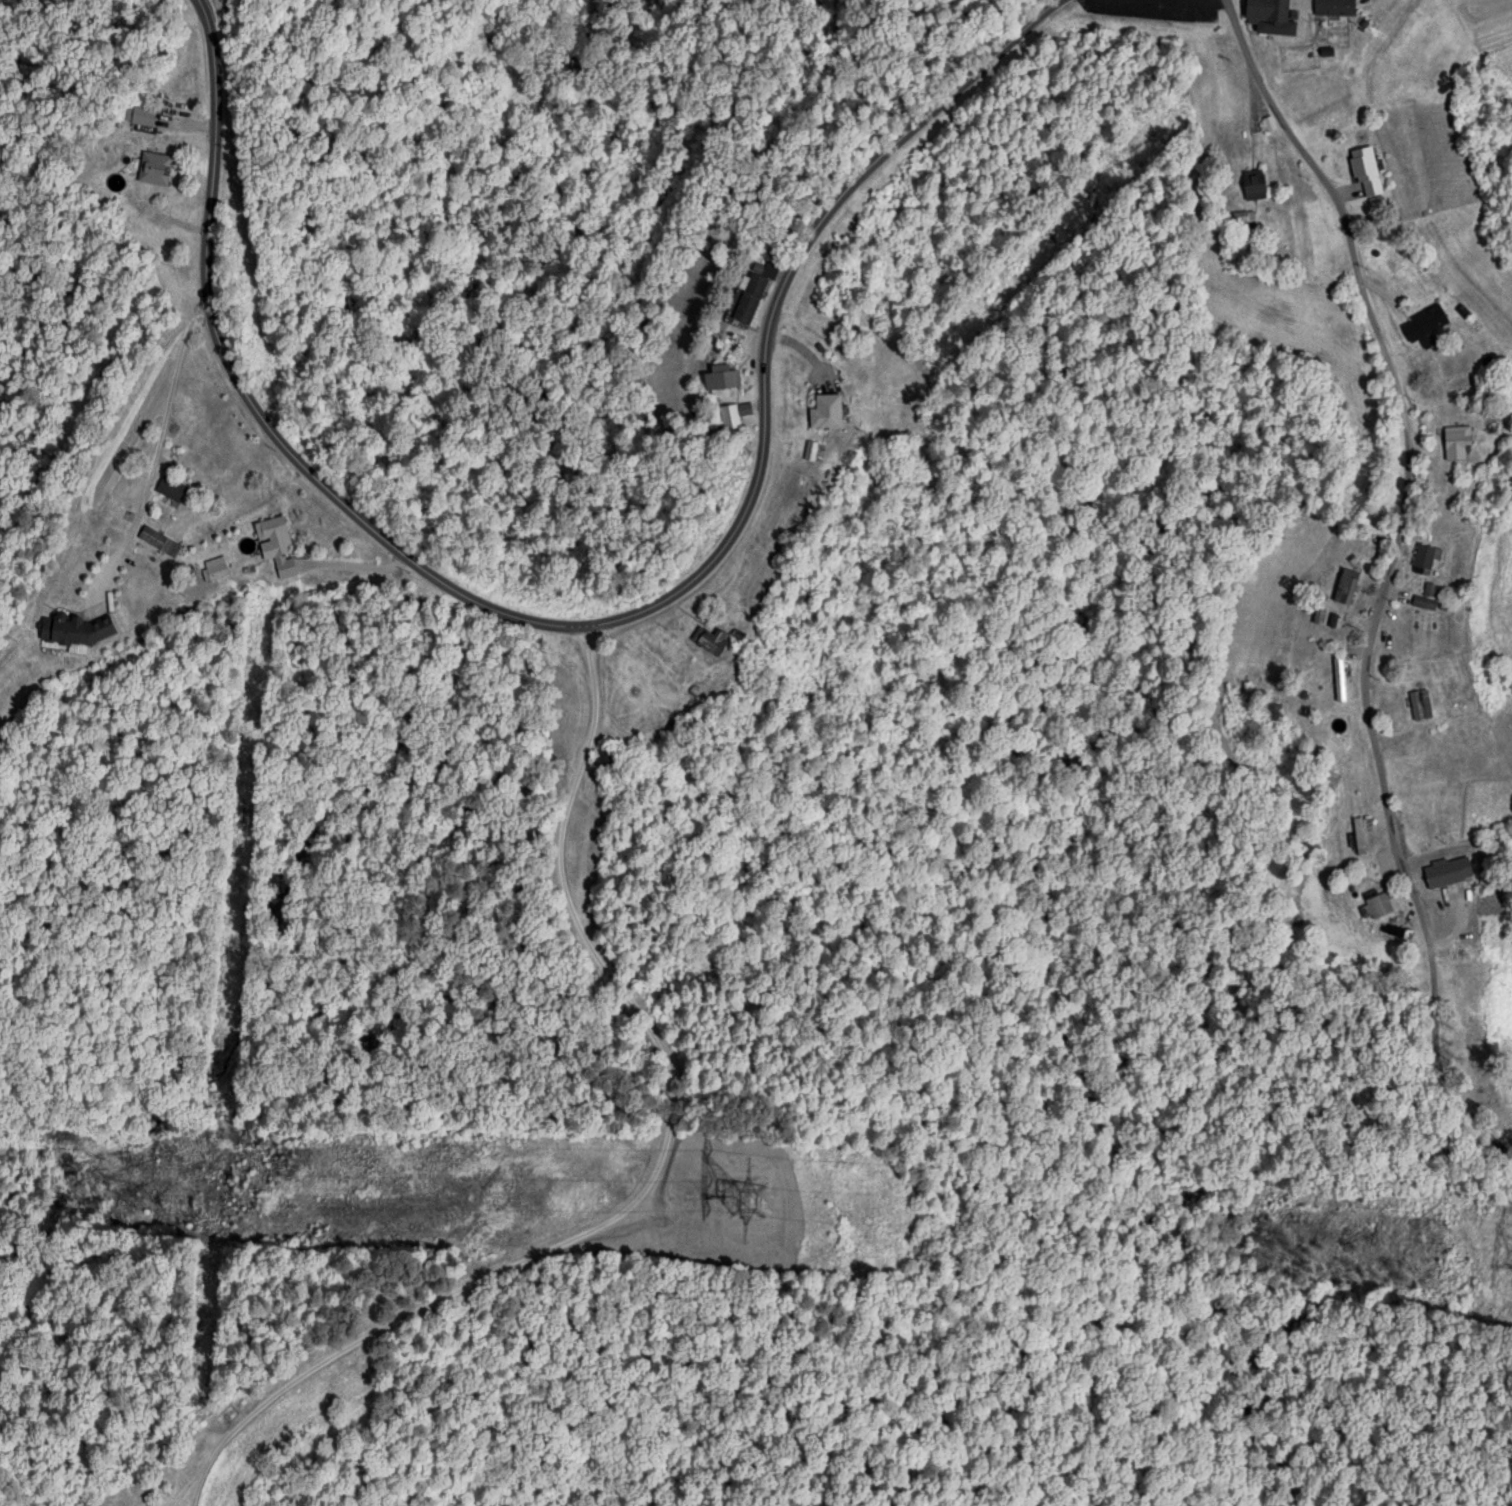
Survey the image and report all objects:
building: (1335, 7)
building: (1269, 16)
building: (144, 115)
building: (156, 167)
building: (1364, 168)
building: (1255, 183)
building: (752, 295)
road: (197, 306)
building: (1426, 325)
building: (722, 376)
building: (826, 411)
building: (736, 413)
building: (1457, 442)
road: (153, 463)
building: (178, 491)
building: (154, 536)
building: (273, 536)
building: (1426, 559)
building: (217, 567)
road: (1385, 577)
building: (1347, 586)
building: (1425, 602)
road: (591, 628)
building: (75, 629)
building: (709, 638)
building: (1340, 676)
building: (1450, 692)
building: (1421, 704)
building: (1363, 835)
building: (1447, 871)
building: (1378, 903)
road: (654, 1175)
power tower: (748, 1198)

